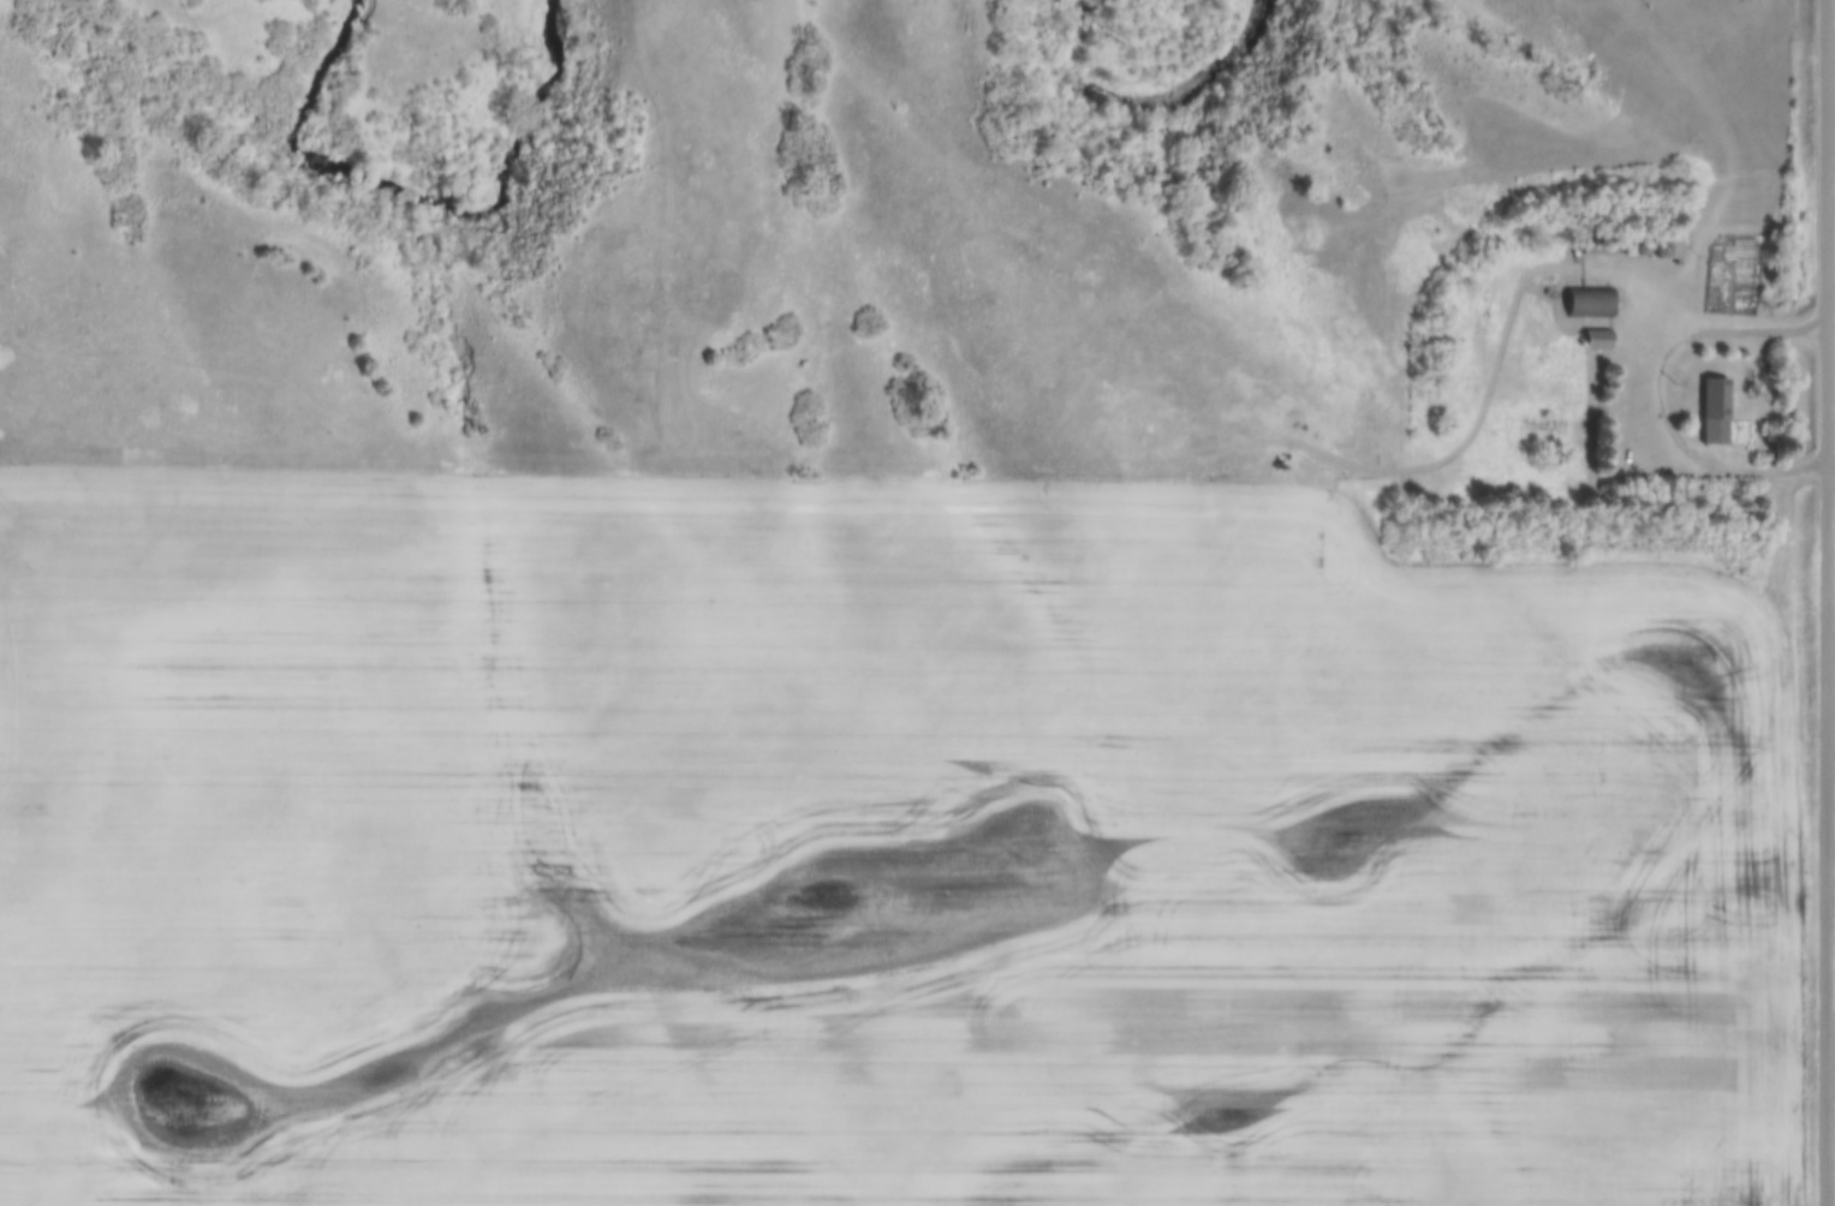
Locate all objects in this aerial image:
building: (1593, 305)
building: (1602, 342)
road: (1663, 394)
building: (1718, 414)
road: (1829, 602)

